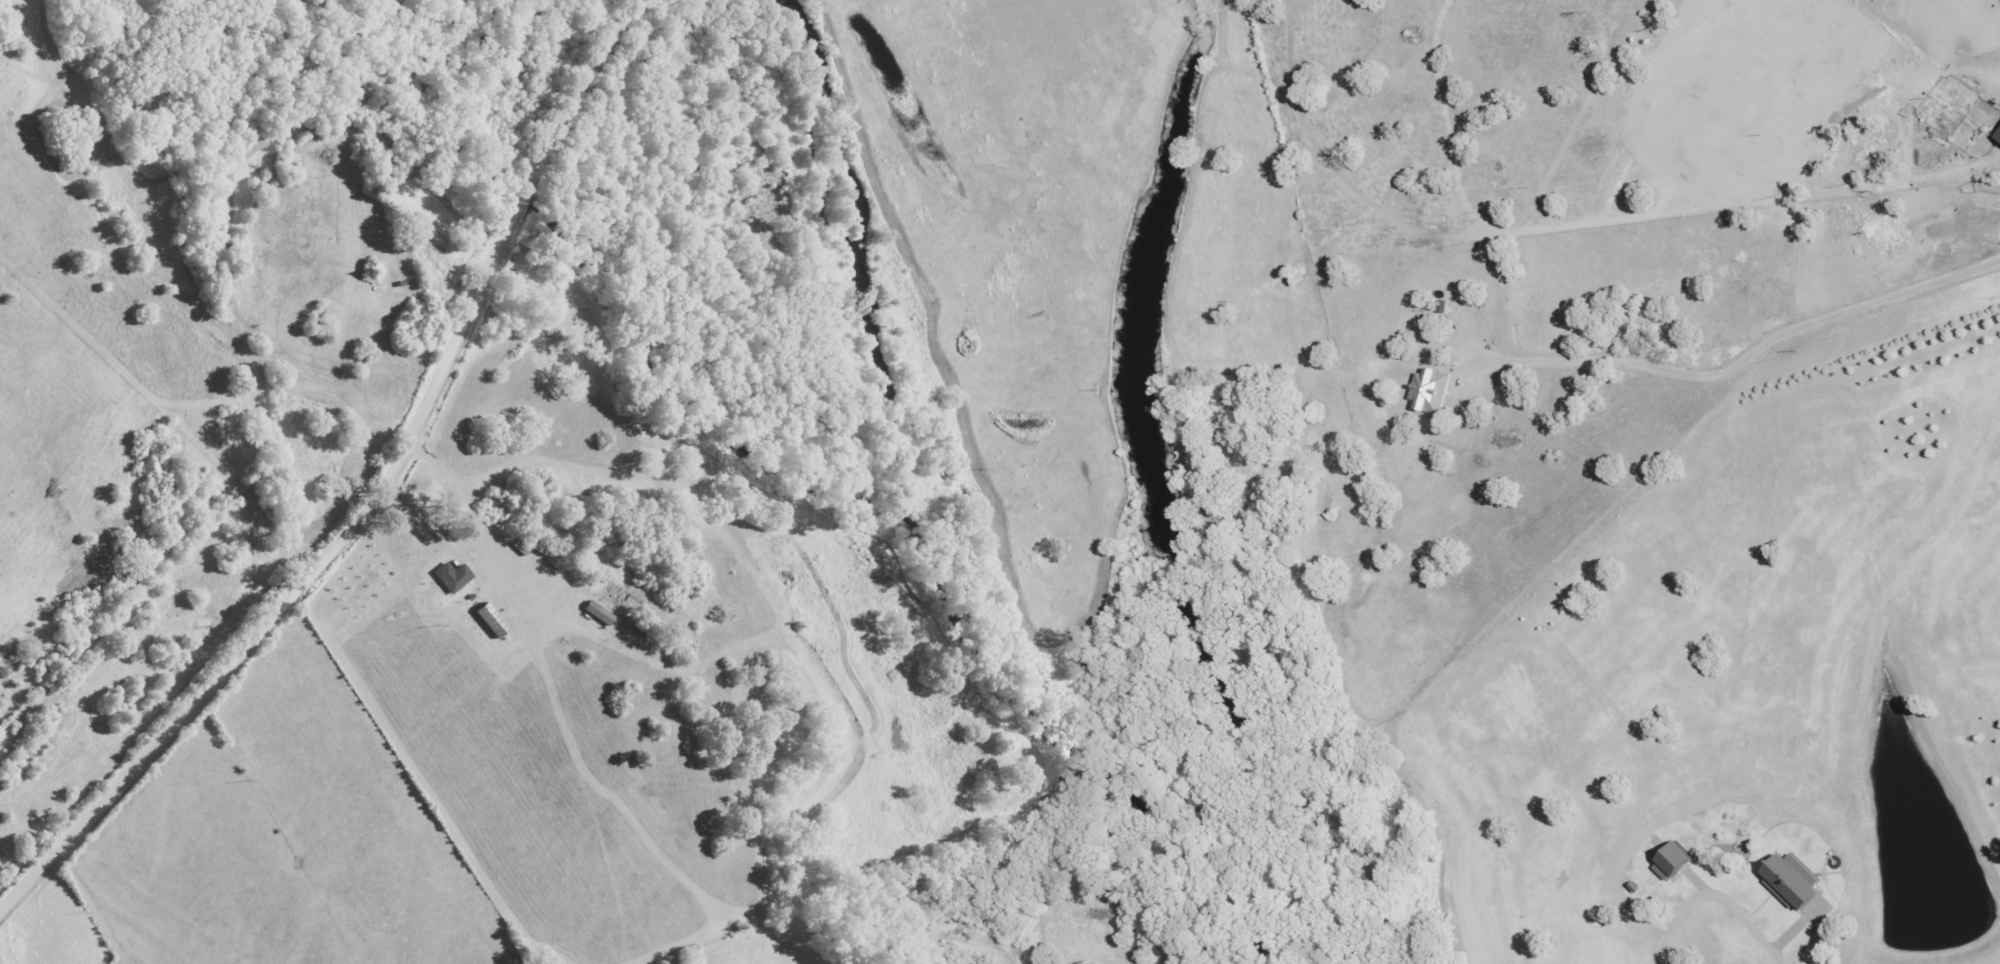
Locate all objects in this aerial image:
building: (1999, 138)
building: (1434, 392)
road: (378, 498)
building: (454, 577)
building: (600, 614)
building: (1672, 868)
building: (1793, 884)
road: (1770, 940)
road: (1979, 960)

